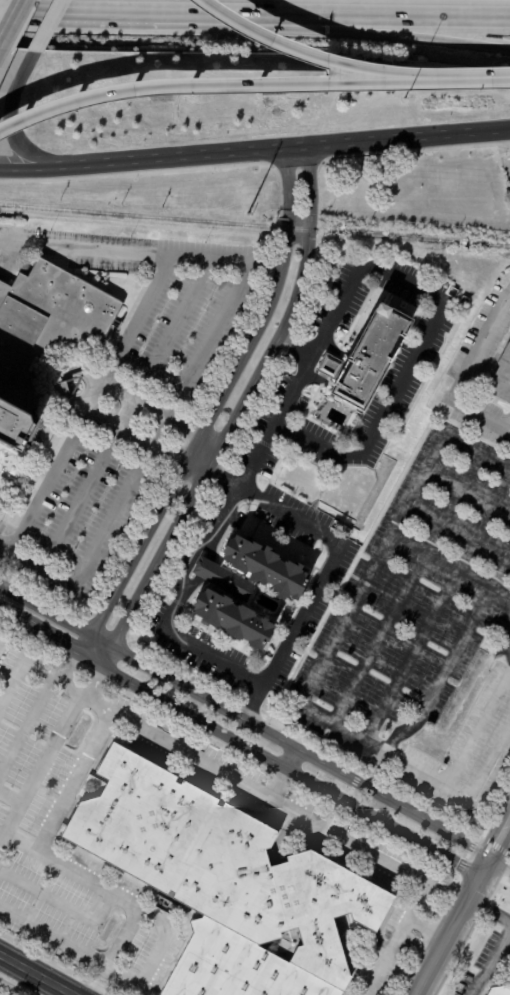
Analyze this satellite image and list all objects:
road: (73, 10)
road: (7, 13)
road: (328, 13)
road: (45, 28)
road: (328, 30)
road: (308, 55)
road: (468, 80)
road: (209, 87)
road: (11, 120)
road: (282, 150)
road: (27, 166)
building: (346, 223)
railway: (254, 227)
road: (121, 255)
road: (412, 284)
building: (466, 300)
road: (133, 319)
building: (44, 335)
road: (294, 346)
building: (373, 355)
building: (331, 367)
road: (78, 369)
road: (468, 372)
building: (502, 380)
road: (96, 385)
road: (57, 393)
road: (79, 405)
road: (240, 405)
road: (212, 410)
road: (124, 415)
road: (162, 415)
road: (159, 424)
road: (143, 443)
building: (18, 468)
road: (48, 476)
road: (224, 512)
road: (211, 549)
road: (186, 561)
road: (37, 563)
road: (330, 565)
building: (267, 566)
road: (204, 569)
building: (225, 579)
road: (189, 587)
road: (7, 613)
road: (55, 616)
building: (234, 620)
road: (57, 642)
road: (193, 648)
road: (508, 648)
road: (107, 657)
road: (29, 670)
road: (65, 676)
road: (314, 676)
road: (92, 686)
road: (24, 723)
road: (300, 752)
road: (288, 758)
road: (36, 763)
road: (292, 772)
road: (274, 785)
road: (462, 792)
road: (8, 793)
road: (281, 812)
road: (498, 866)
building: (228, 884)
road: (61, 903)
road: (463, 906)
road: (489, 907)
road: (162, 939)
road: (112, 951)
road: (490, 964)
road: (33, 976)
building: (502, 991)

